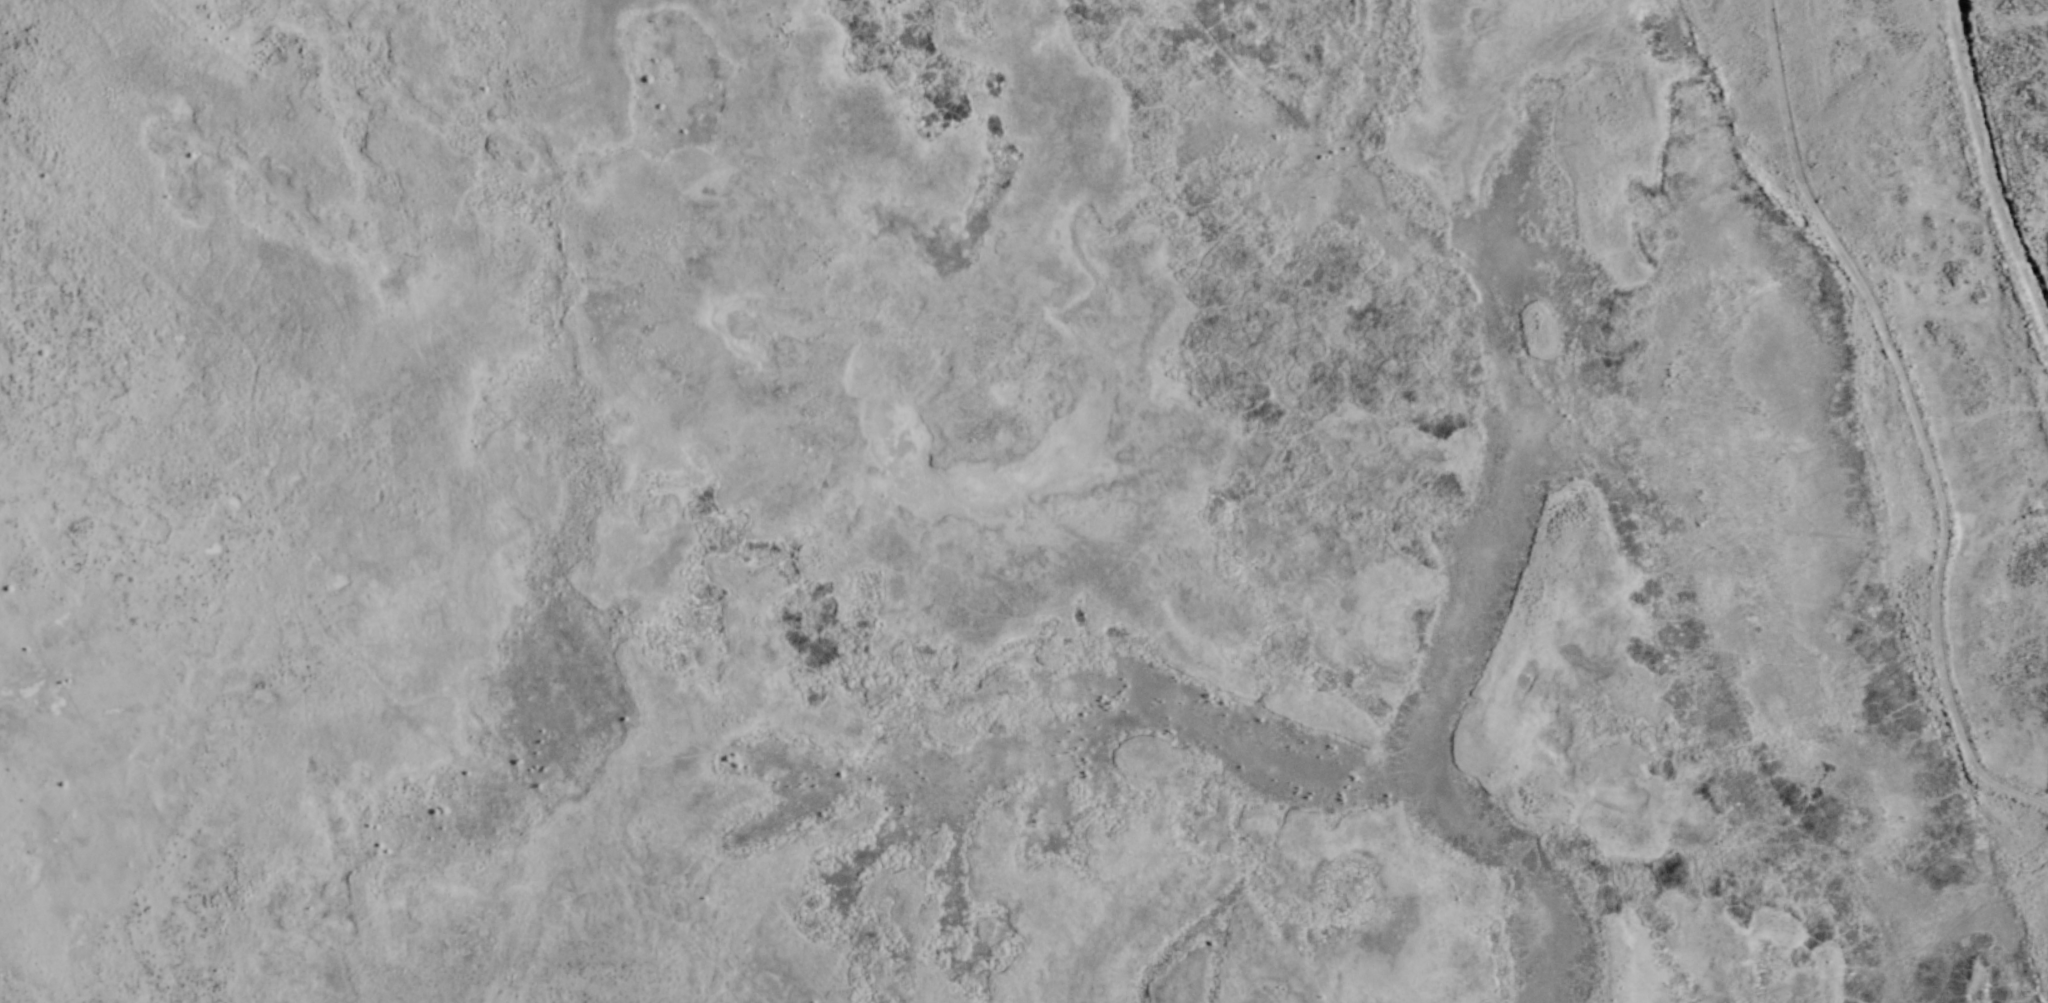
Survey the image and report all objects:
road: (1989, 164)
road: (1916, 416)

